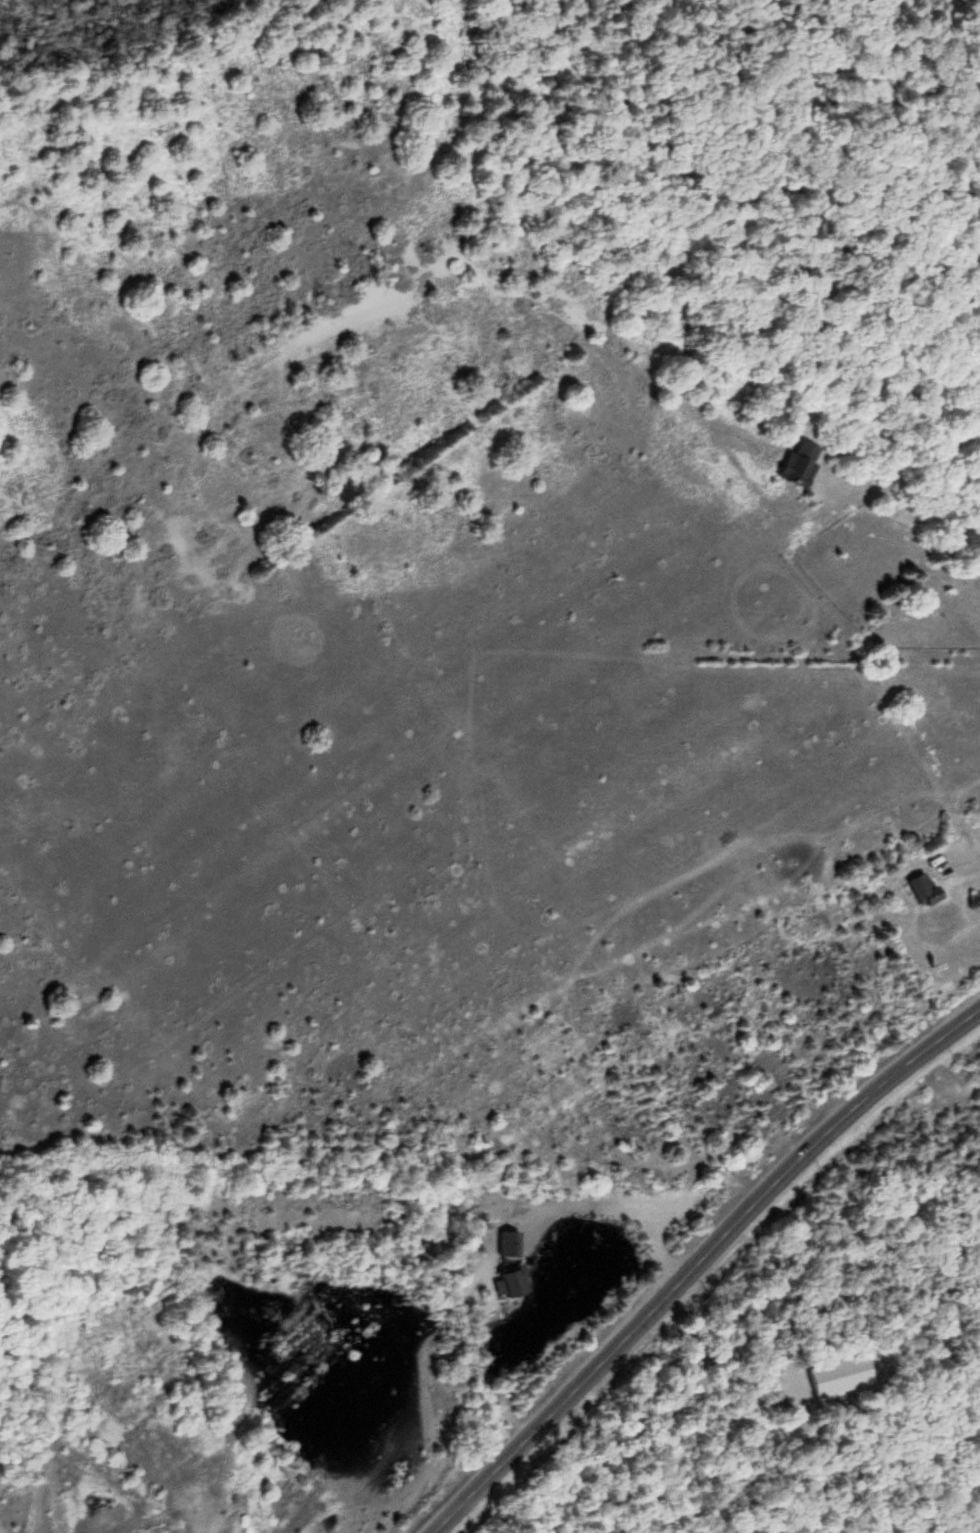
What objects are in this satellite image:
road: (938, 383)
building: (801, 461)
park: (216, 611)
building: (924, 886)
building: (941, 916)
building: (511, 1241)
road: (694, 1259)
building: (515, 1280)
quarry: (239, 1360)

